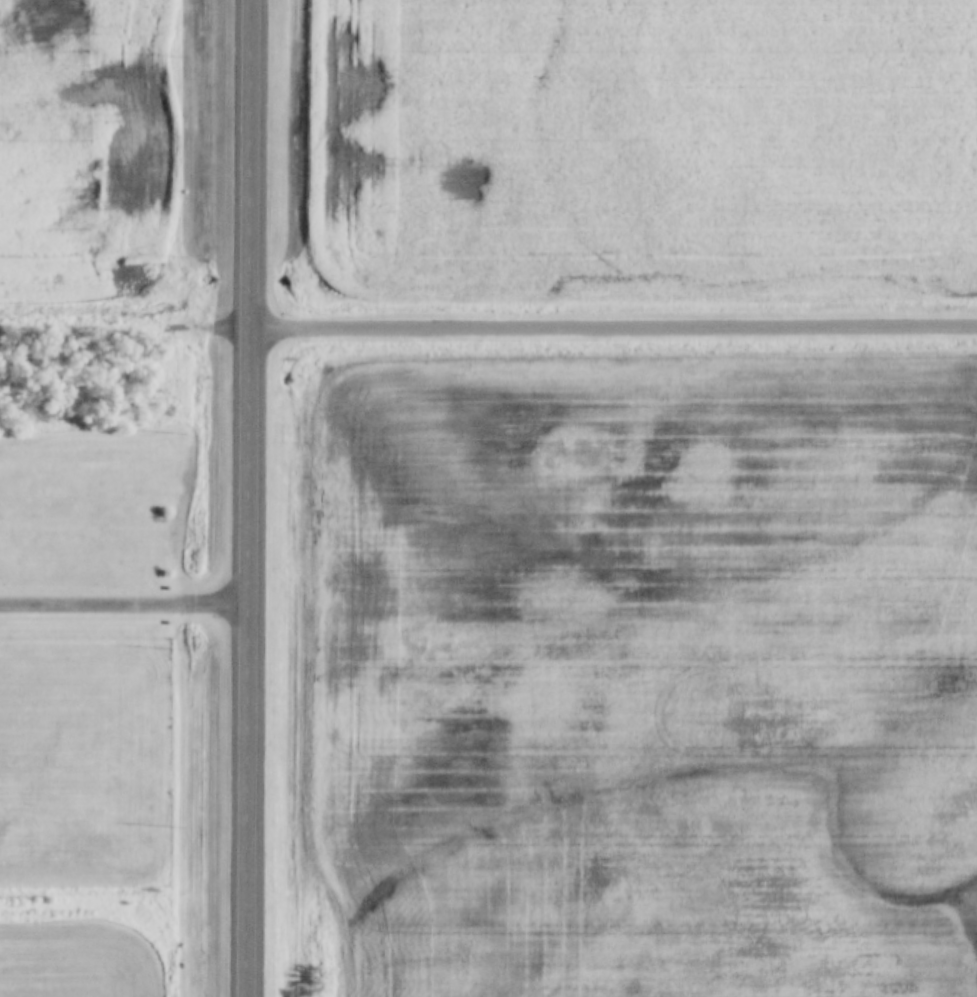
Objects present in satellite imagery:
road: (613, 330)
road: (249, 498)
road: (124, 606)

